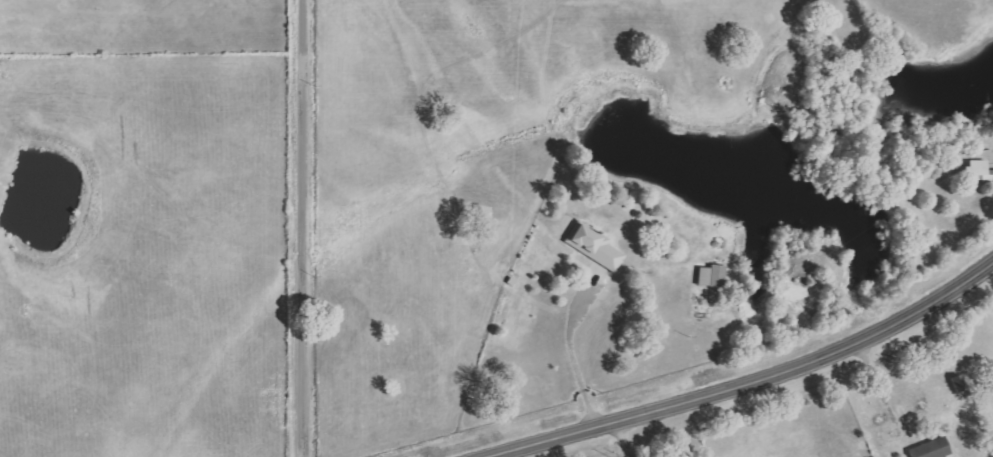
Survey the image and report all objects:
road: (830, 165)
building: (984, 169)
road: (306, 228)
building: (599, 247)
building: (716, 276)
road: (570, 346)
road: (742, 378)
road: (621, 437)
building: (936, 449)

